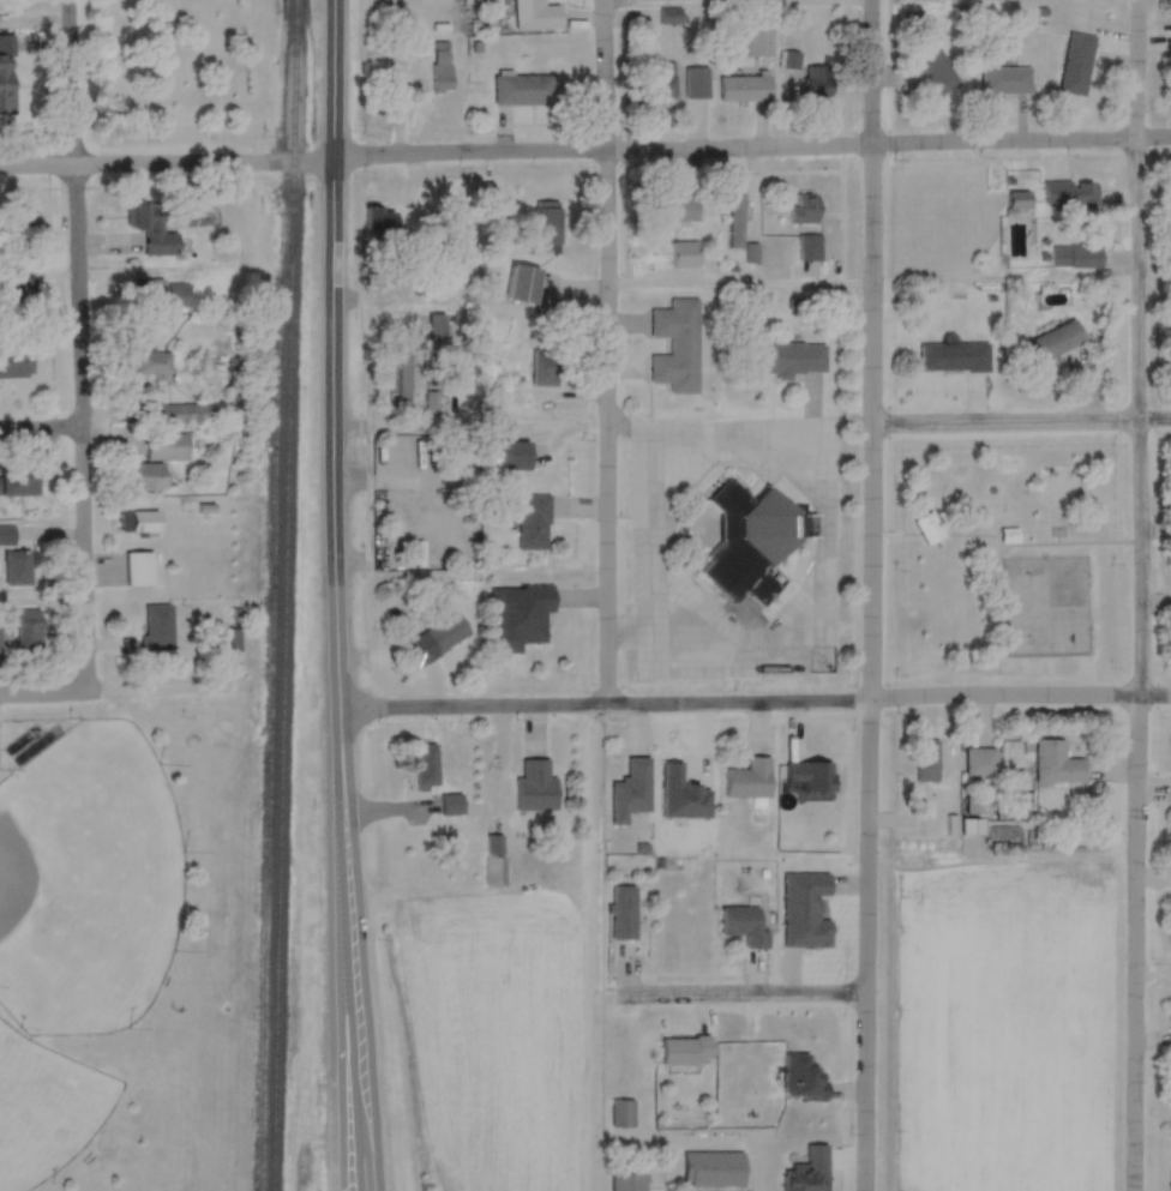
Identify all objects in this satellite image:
road: (729, 10)
building: (536, 16)
building: (671, 16)
building: (758, 36)
building: (1076, 64)
building: (935, 67)
building: (791, 70)
park: (181, 71)
building: (442, 79)
building: (663, 80)
building: (1007, 80)
building: (818, 82)
building: (697, 83)
building: (6, 85)
railway: (293, 85)
building: (745, 89)
building: (523, 90)
road: (751, 151)
road: (166, 162)
building: (1086, 196)
building: (1019, 200)
building: (678, 209)
building: (803, 209)
building: (23, 216)
building: (737, 219)
building: (383, 222)
building: (547, 222)
building: (151, 230)
building: (809, 247)
building: (685, 254)
building: (1076, 257)
building: (523, 284)
building: (151, 291)
road: (731, 291)
building: (178, 296)
building: (1055, 342)
road: (78, 344)
building: (677, 345)
road: (602, 355)
building: (787, 357)
building: (954, 357)
building: (16, 363)
building: (151, 365)
building: (545, 367)
building: (514, 395)
building: (403, 402)
road: (467, 410)
building: (180, 413)
road: (1016, 421)
road: (40, 428)
building: (168, 446)
building: (398, 455)
building: (516, 455)
building: (149, 477)
building: (22, 481)
building: (400, 513)
building: (140, 522)
building: (533, 522)
building: (929, 529)
building: (1009, 535)
building: (6, 536)
building: (752, 542)
park: (999, 557)
building: (17, 569)
building: (139, 570)
road: (340, 595)
road: (861, 595)
road: (1131, 595)
building: (518, 616)
building: (29, 628)
building: (158, 628)
building: (446, 633)
building: (4, 639)
building: (228, 640)
railway: (272, 680)
railway: (282, 680)
road: (43, 691)
road: (162, 696)
road: (756, 708)
building: (926, 760)
building: (980, 760)
building: (1056, 763)
building: (426, 768)
building: (749, 780)
building: (535, 788)
building: (631, 792)
building: (451, 806)
building: (493, 837)
building: (494, 871)
park: (85, 883)
building: (623, 912)
building: (744, 925)
road: (1151, 984)
road: (740, 993)
building: (685, 1052)
building: (801, 1078)
park: (44, 1109)
building: (623, 1114)
building: (714, 1171)
building: (809, 1172)
building: (629, 1183)

